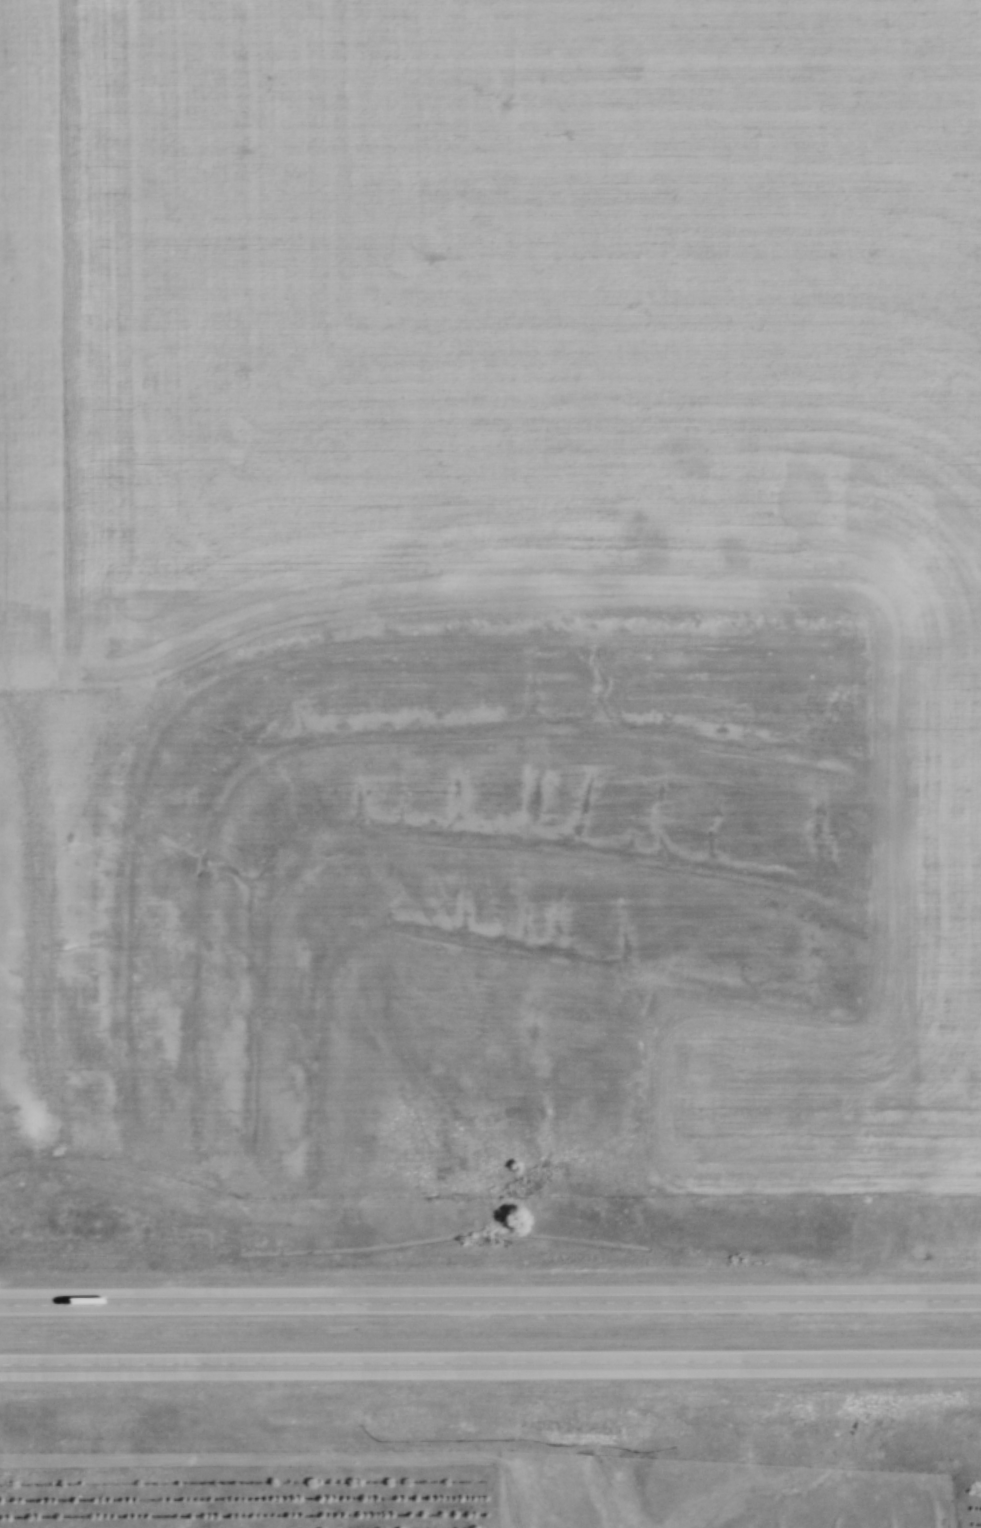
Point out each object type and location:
crop: (512, 432)
road: (490, 1304)
road: (490, 1362)

